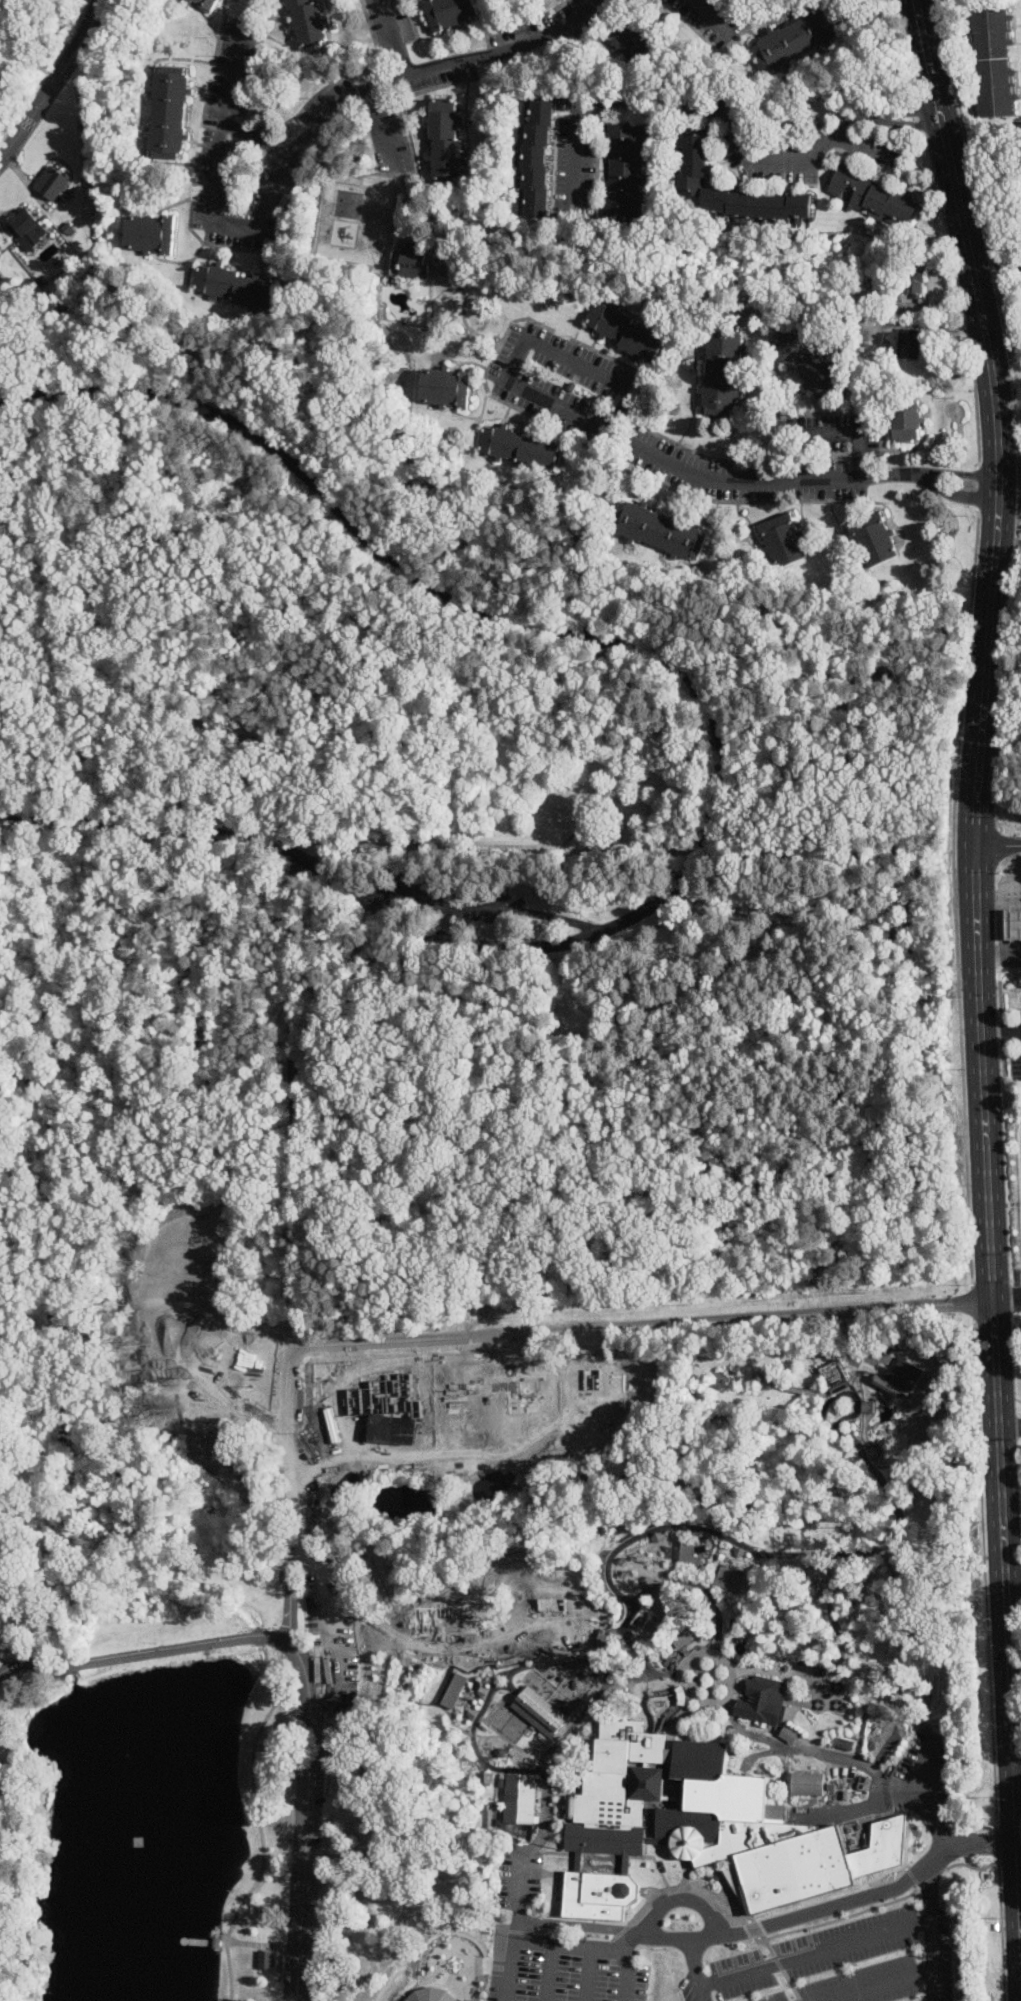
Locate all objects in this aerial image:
building: (207, 4)
building: (451, 12)
road: (710, 15)
building: (308, 22)
building: (796, 38)
road: (393, 39)
building: (631, 39)
road: (924, 44)
building: (990, 60)
road: (52, 80)
road: (726, 112)
building: (170, 113)
road: (385, 128)
road: (260, 139)
building: (446, 140)
road: (302, 147)
road: (860, 147)
building: (540, 155)
building: (691, 160)
building: (623, 173)
building: (48, 182)
building: (871, 197)
building: (25, 226)
building: (147, 233)
road: (996, 262)
building: (412, 263)
building: (910, 282)
building: (235, 285)
building: (630, 334)
building: (909, 344)
building: (807, 362)
building: (724, 370)
building: (446, 389)
road: (994, 399)
building: (907, 422)
road: (850, 431)
building: (522, 449)
road: (648, 451)
building: (660, 531)
building: (784, 542)
building: (875, 542)
road: (650, 653)
road: (201, 701)
road: (977, 781)
road: (129, 824)
road: (301, 845)
road: (617, 846)
road: (998, 846)
park: (470, 847)
road: (1011, 891)
road: (470, 901)
building: (1014, 925)
road: (1002, 928)
road: (1001, 1031)
road: (293, 1098)
road: (1019, 1299)
road: (1006, 1300)
road: (644, 1325)
road: (995, 1345)
building: (833, 1374)
building: (761, 1376)
road: (851, 1381)
building: (840, 1387)
road: (841, 1387)
road: (796, 1389)
building: (866, 1404)
road: (1010, 1427)
building: (872, 1450)
road: (291, 1493)
building: (657, 1535)
building: (708, 1536)
building: (702, 1545)
building: (739, 1549)
building: (689, 1552)
road: (799, 1554)
road: (1013, 1568)
building: (730, 1577)
building: (647, 1579)
road: (696, 1582)
park: (468, 1598)
building: (642, 1616)
dam: (229, 1630)
dam: (157, 1643)
road: (142, 1655)
dam: (60, 1660)
road: (529, 1667)
building: (812, 1667)
road: (753, 1668)
building: (770, 1679)
road: (700, 1685)
fountain: (836, 1685)
road: (740, 1686)
road: (816, 1686)
building: (454, 1688)
building: (482, 1689)
fountain: (827, 1693)
building: (762, 1700)
road: (796, 1700)
fountain: (817, 1702)
fountain: (836, 1703)
building: (472, 1710)
building: (540, 1711)
road: (542, 1758)
road: (1018, 1769)
building: (809, 1784)
road: (922, 1793)
building: (520, 1799)
road: (305, 1818)
road: (258, 1822)
building: (701, 1826)
road: (1019, 1876)
road: (681, 1898)
road: (772, 1922)
road: (516, 1923)
road: (931, 1930)
road: (201, 1941)
road: (259, 1945)
road: (815, 1951)
building: (263, 1959)
road: (626, 1967)
road: (696, 1968)
road: (549, 1971)
road: (588, 1973)
road: (873, 1984)
building: (425, 1995)

